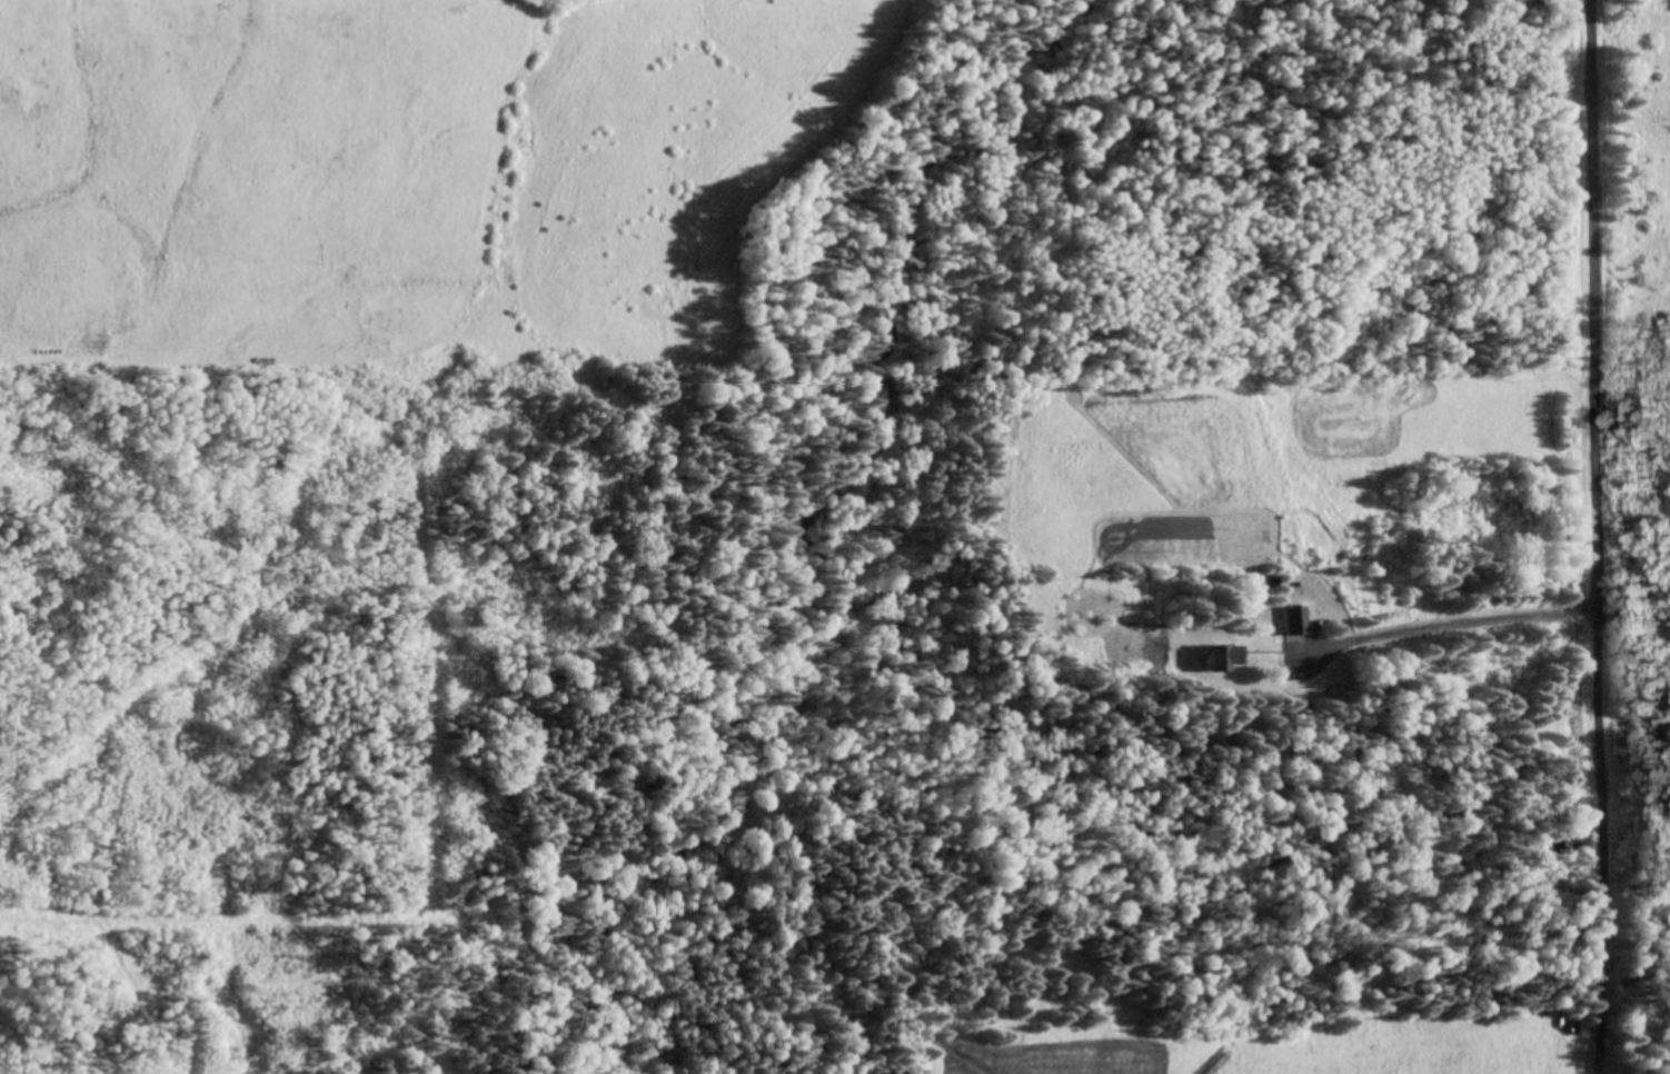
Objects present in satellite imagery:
road: (1604, 536)
building: (1291, 620)
building: (1217, 657)

